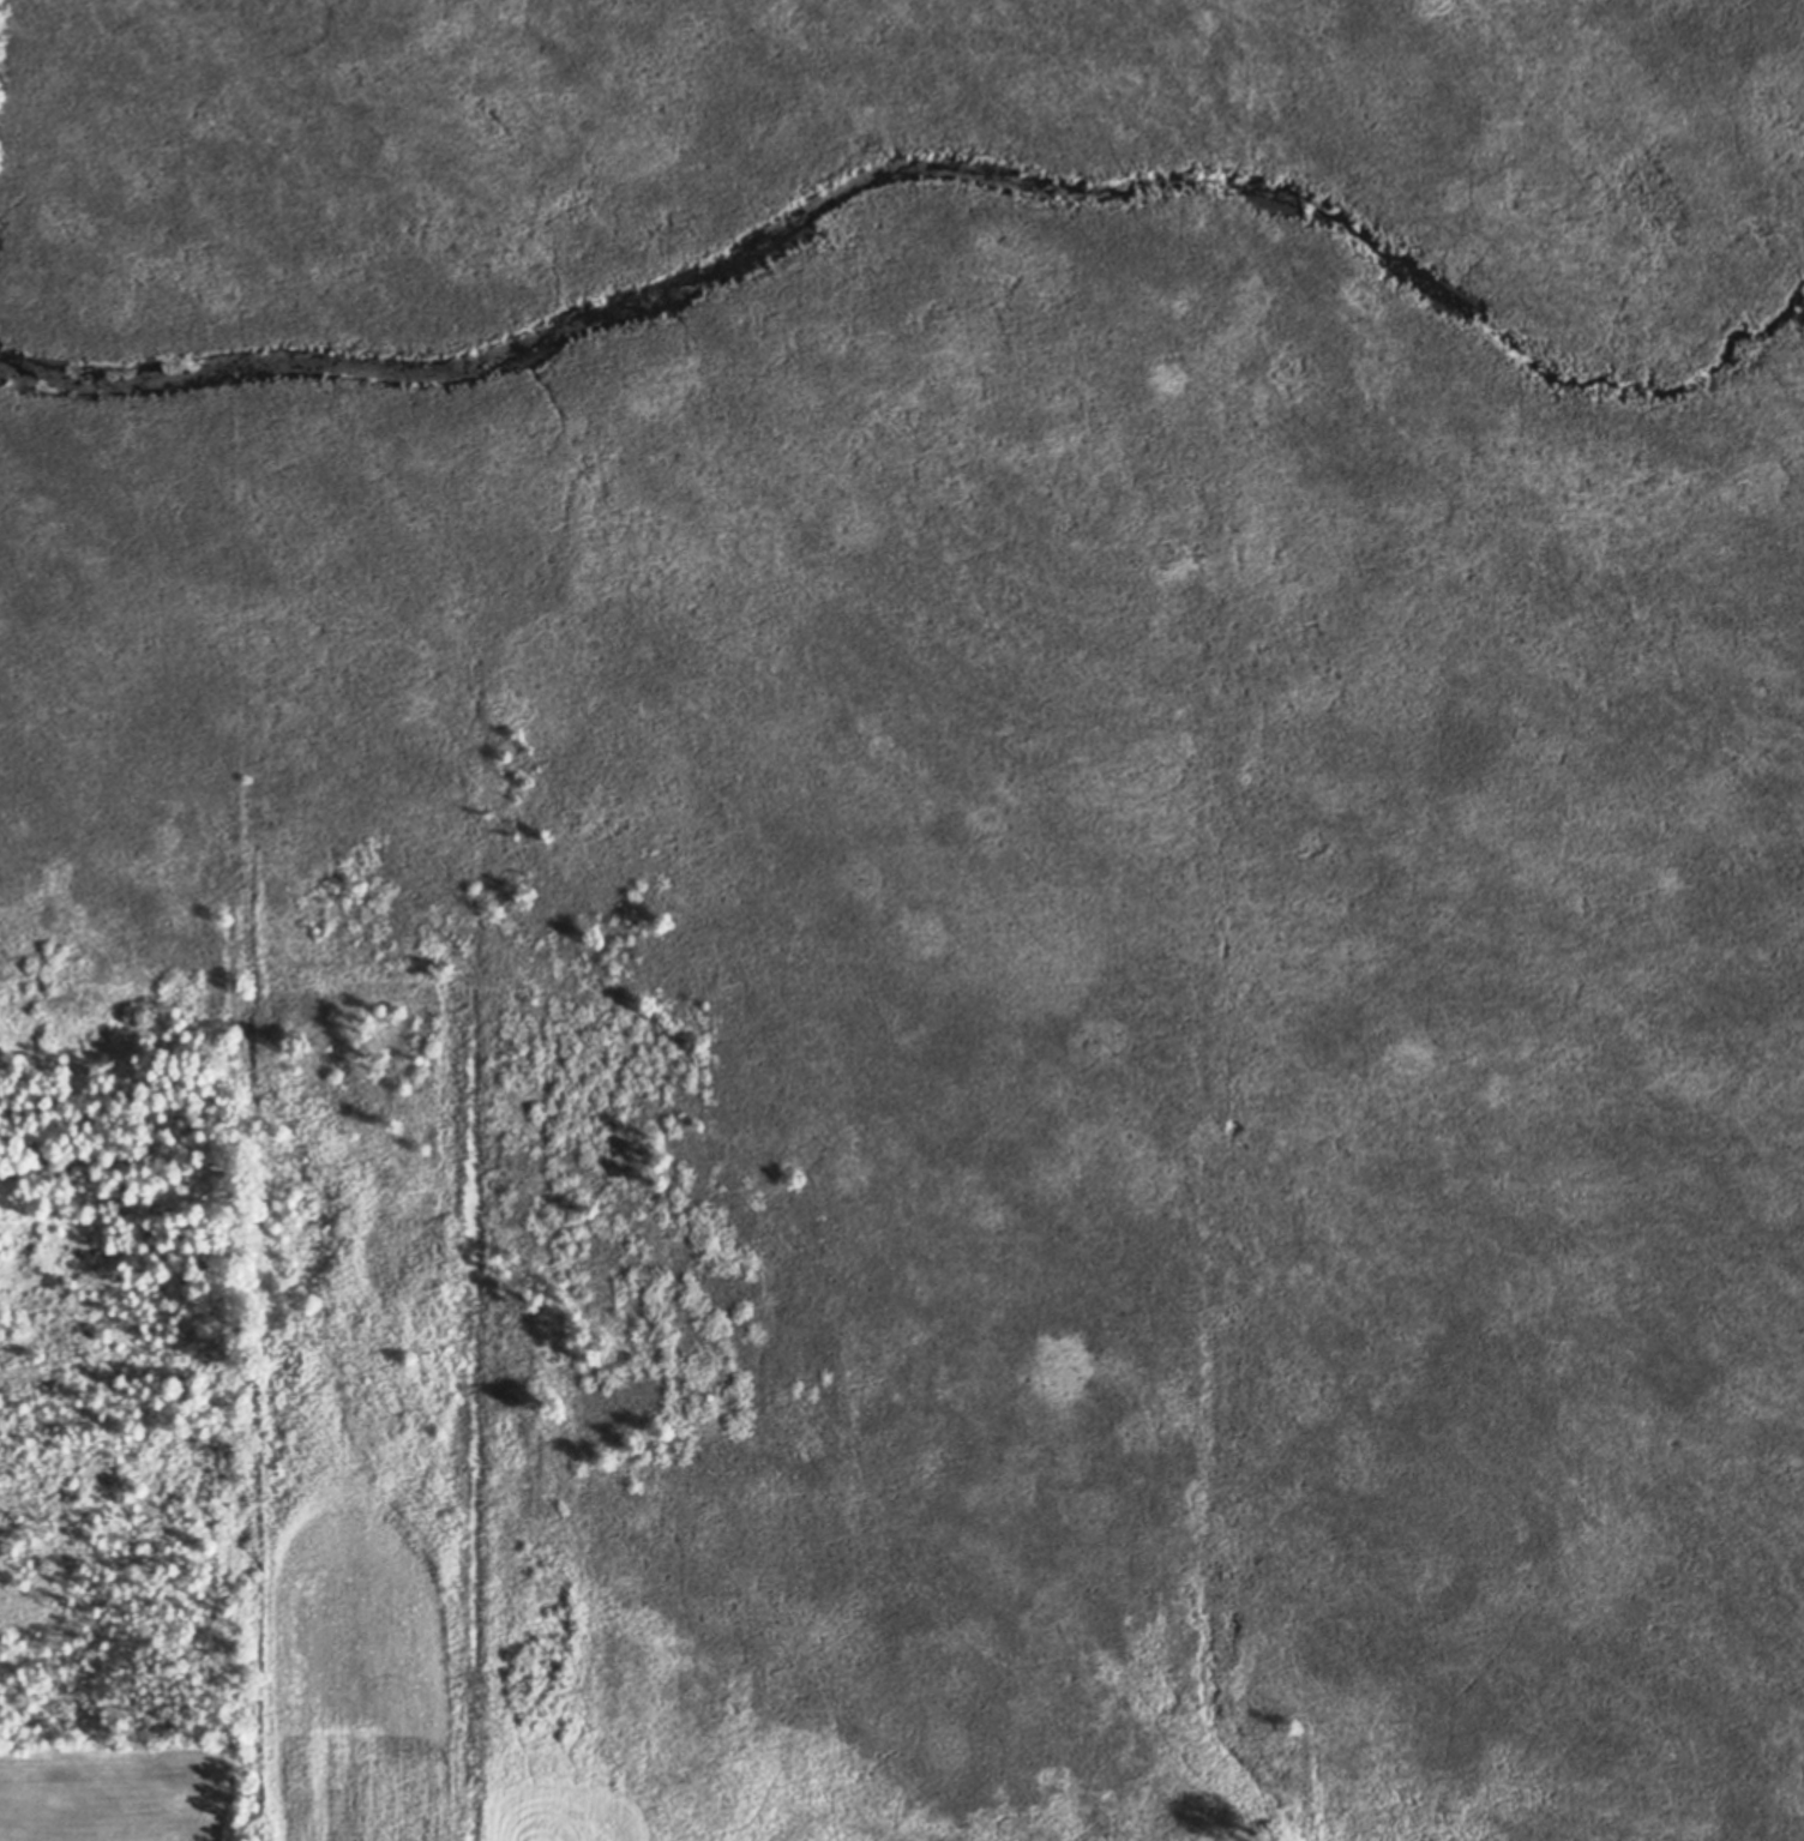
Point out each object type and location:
river: (920, 170)

